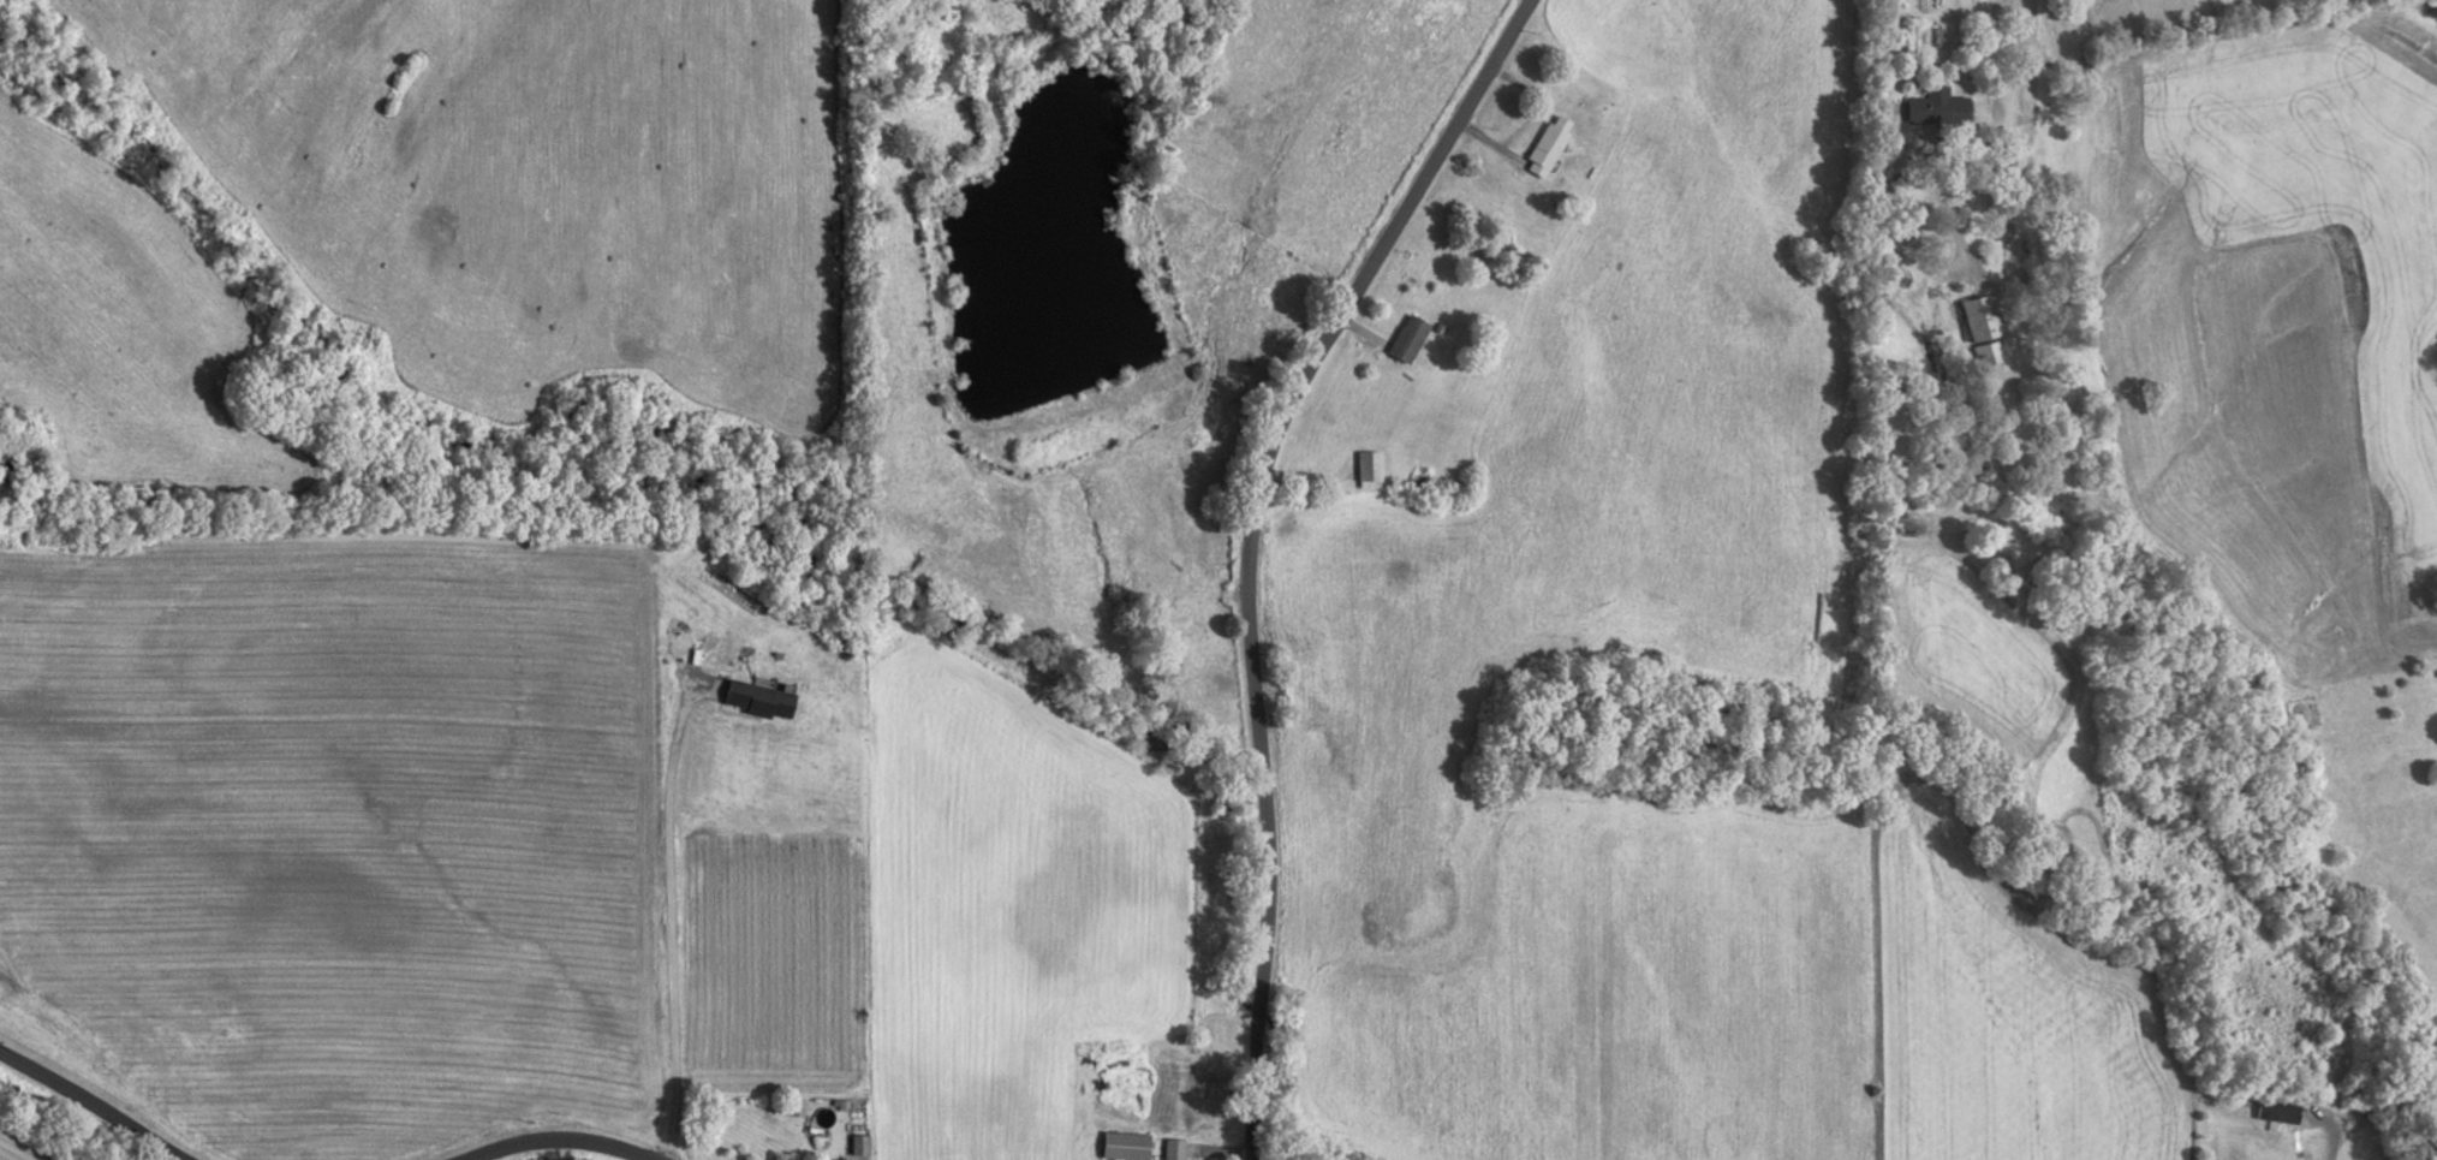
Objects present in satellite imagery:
road: (2033, 8)
building: (1948, 105)
building: (1549, 144)
building: (1984, 319)
building: (1411, 338)
building: (1990, 355)
building: (1370, 469)
road: (1227, 537)
building: (755, 698)
road: (671, 910)
building: (1125, 1091)
road: (88, 1108)
building: (2278, 1112)
road: (554, 1134)
building: (1126, 1146)
road: (2331, 1146)
building: (1174, 1149)
building: (2308, 1153)

